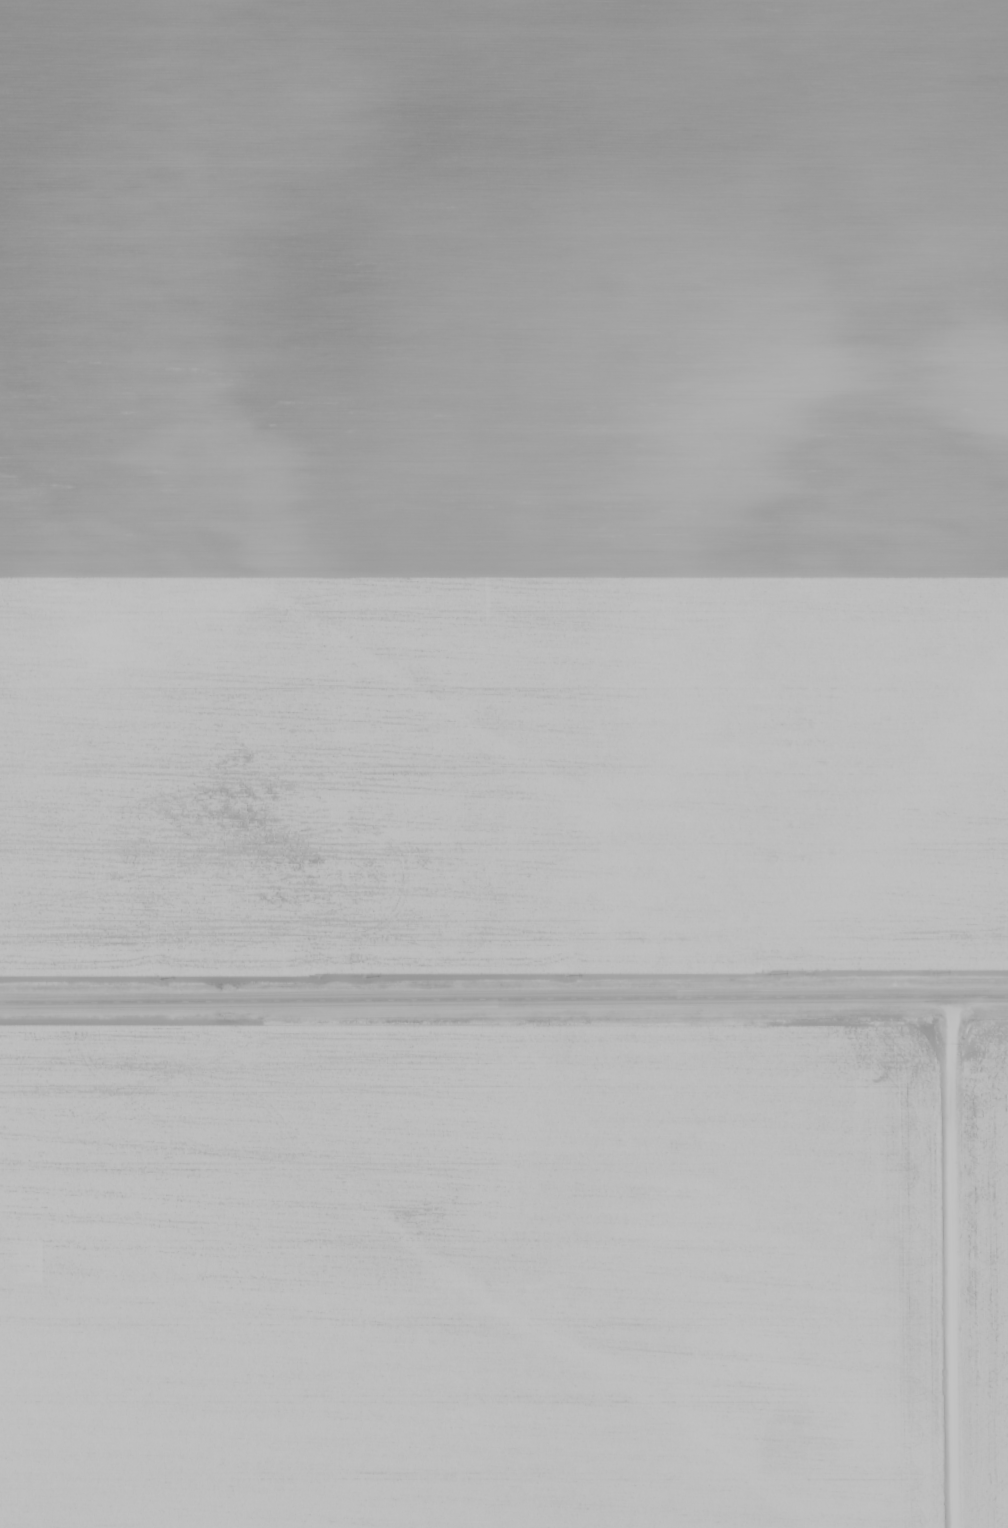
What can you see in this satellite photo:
road: (504, 978)
road: (503, 999)
road: (959, 1262)

